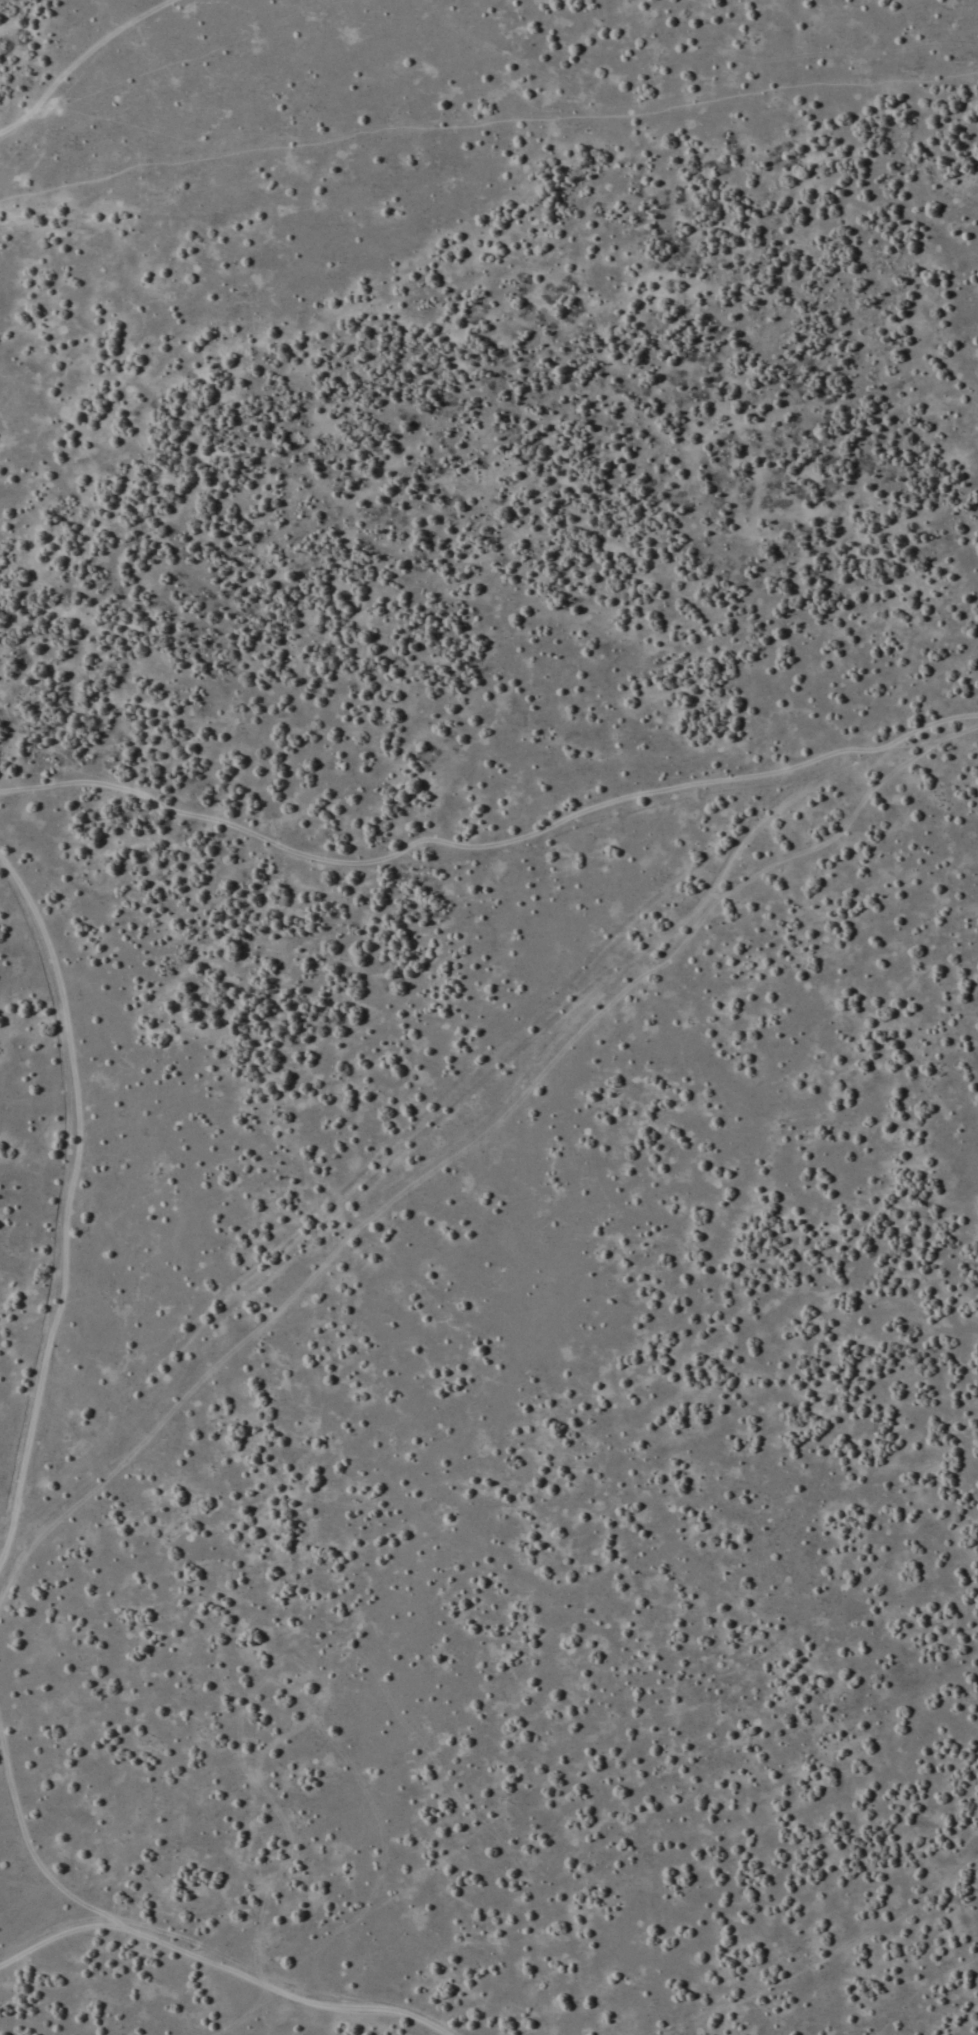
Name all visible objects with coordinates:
road: (80, 57)
road: (488, 846)
road: (456, 1097)
road: (225, 1956)

